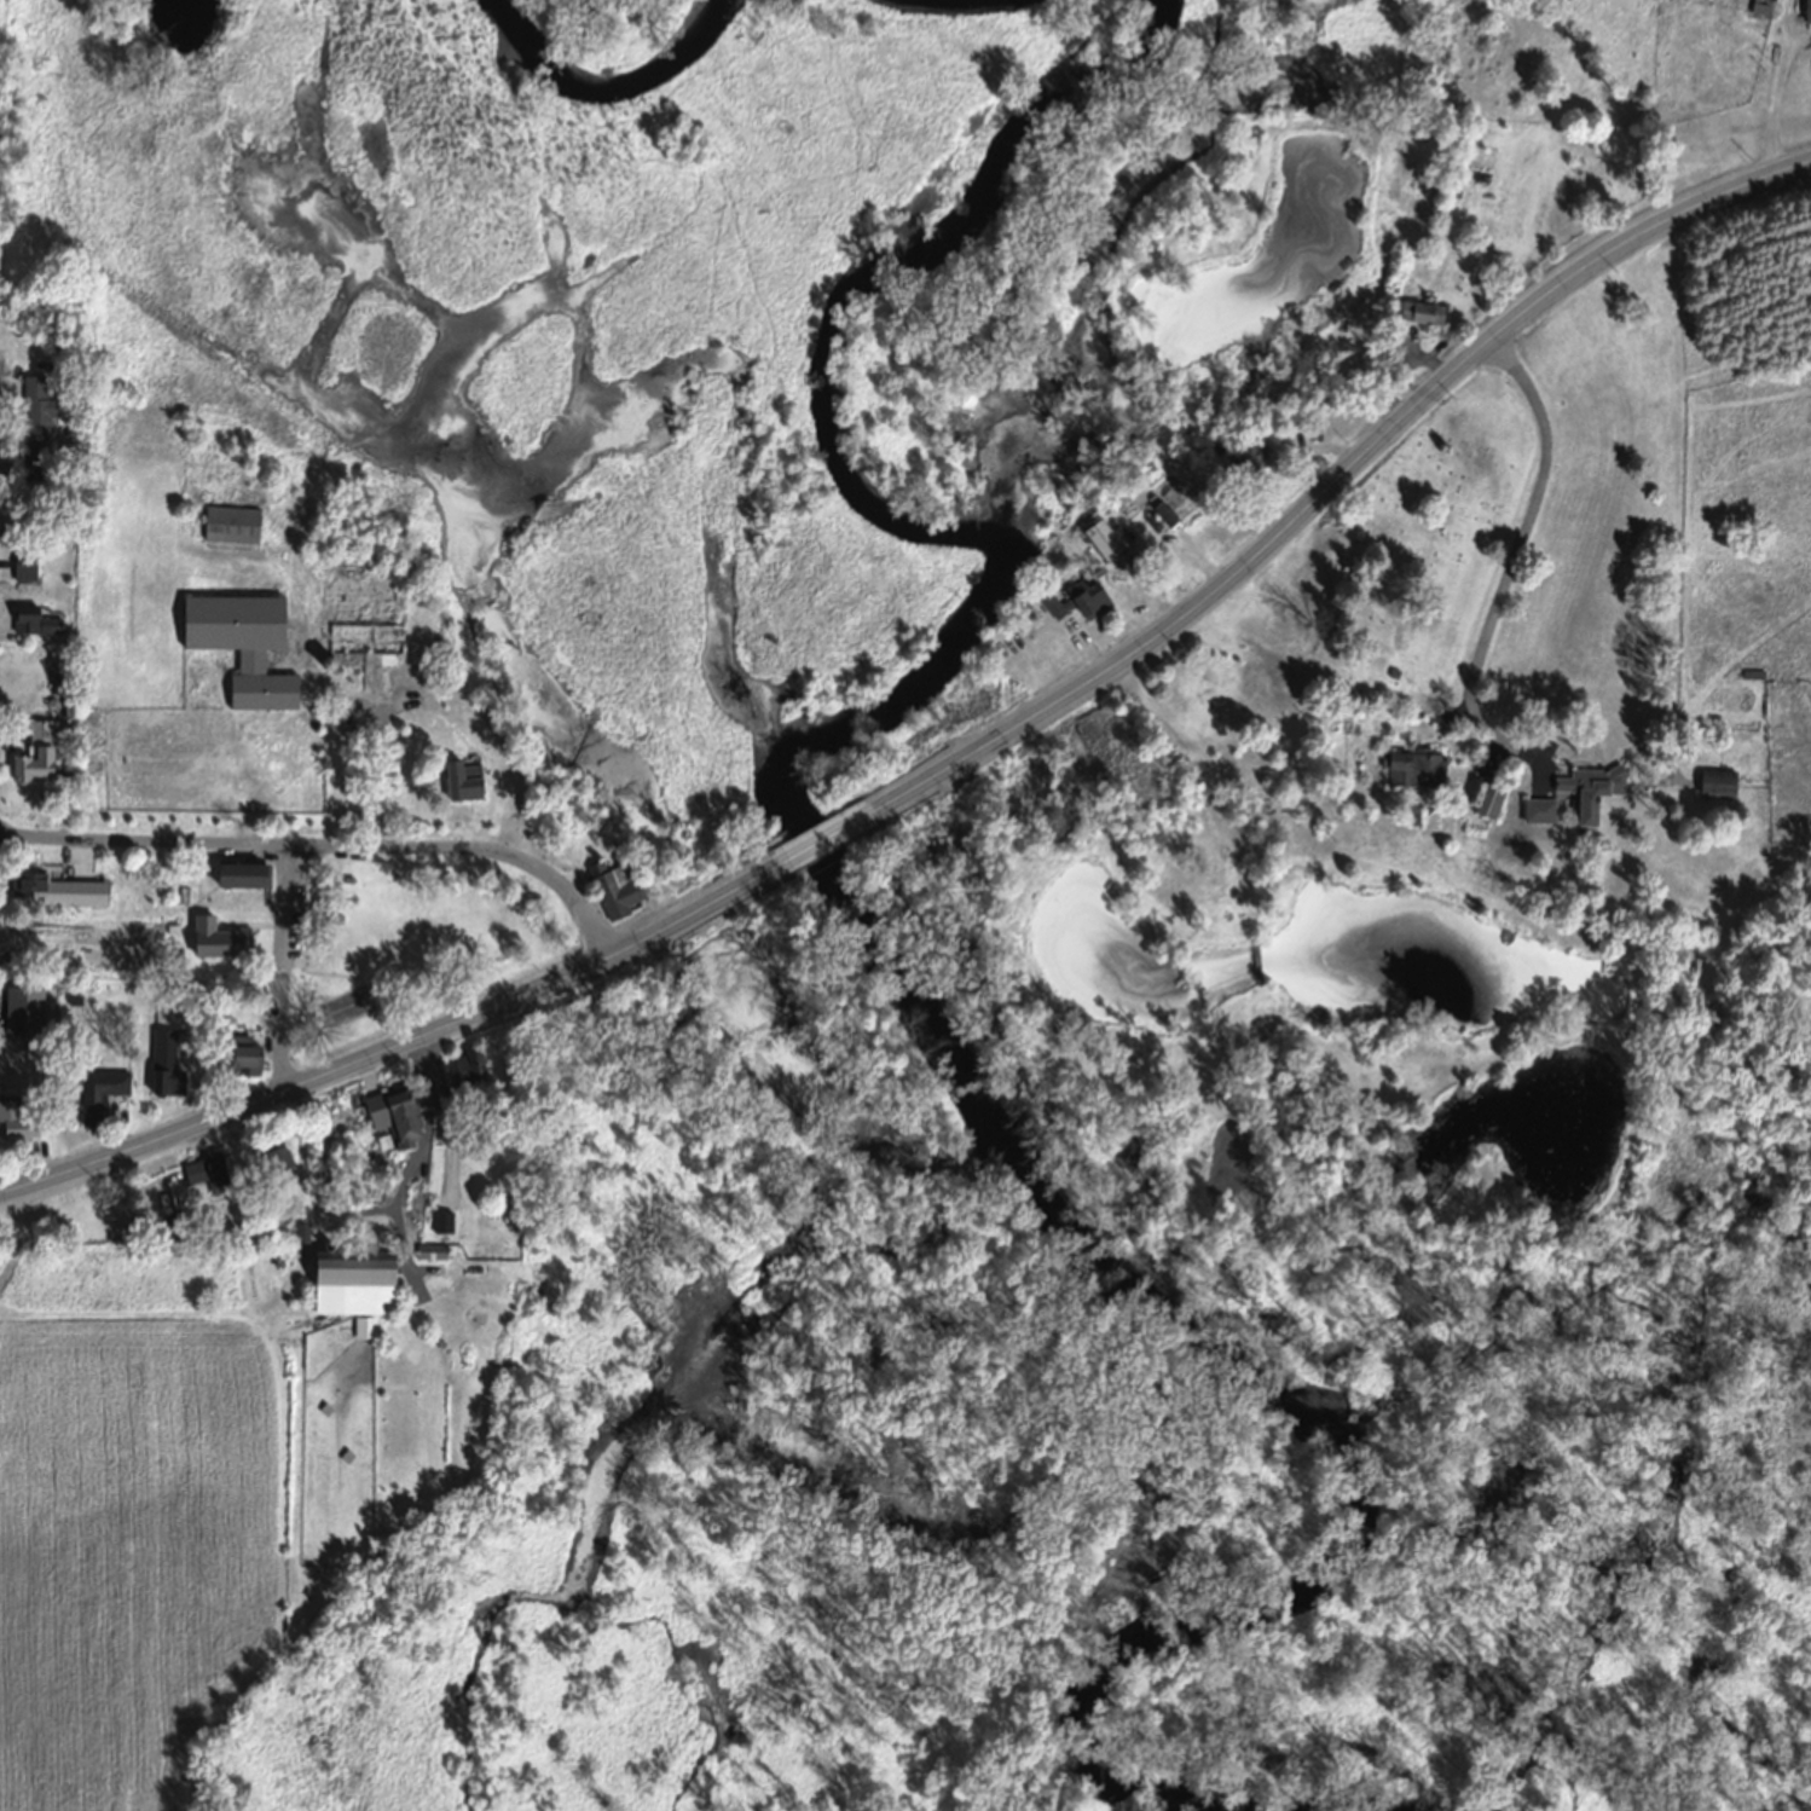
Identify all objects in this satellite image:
building: (1810, 12)
river: (624, 68)
road: (1776, 86)
building: (1431, 311)
building: (47, 412)
building: (1255, 456)
road: (1341, 474)
building: (1175, 508)
building: (237, 523)
building: (1109, 538)
park: (1411, 542)
road: (1516, 551)
building: (30, 563)
building: (1095, 601)
building: (1054, 607)
building: (44, 620)
building: (249, 644)
road: (380, 737)
building: (46, 751)
road: (1208, 768)
building: (1422, 768)
building: (470, 777)
building: (1723, 781)
building: (1598, 788)
building: (1495, 795)
building: (1546, 808)
road: (832, 835)
road: (325, 850)
building: (249, 872)
building: (621, 884)
building: (70, 889)
building: (222, 937)
park: (409, 942)
road: (293, 970)
building: (29, 1007)
road: (399, 1042)
river: (996, 1074)
building: (105, 1090)
building: (401, 1113)
building: (23, 1119)
road: (428, 1139)
building: (436, 1250)
building: (366, 1280)

